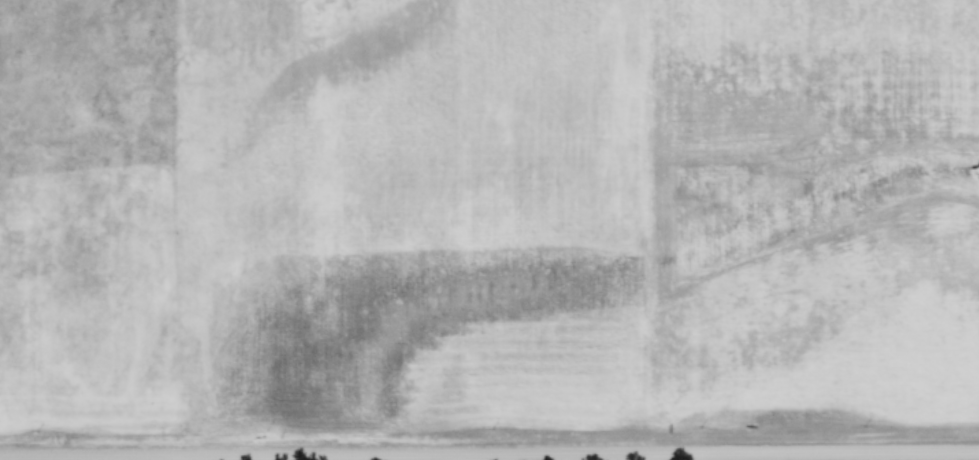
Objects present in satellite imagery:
road: (489, 458)

